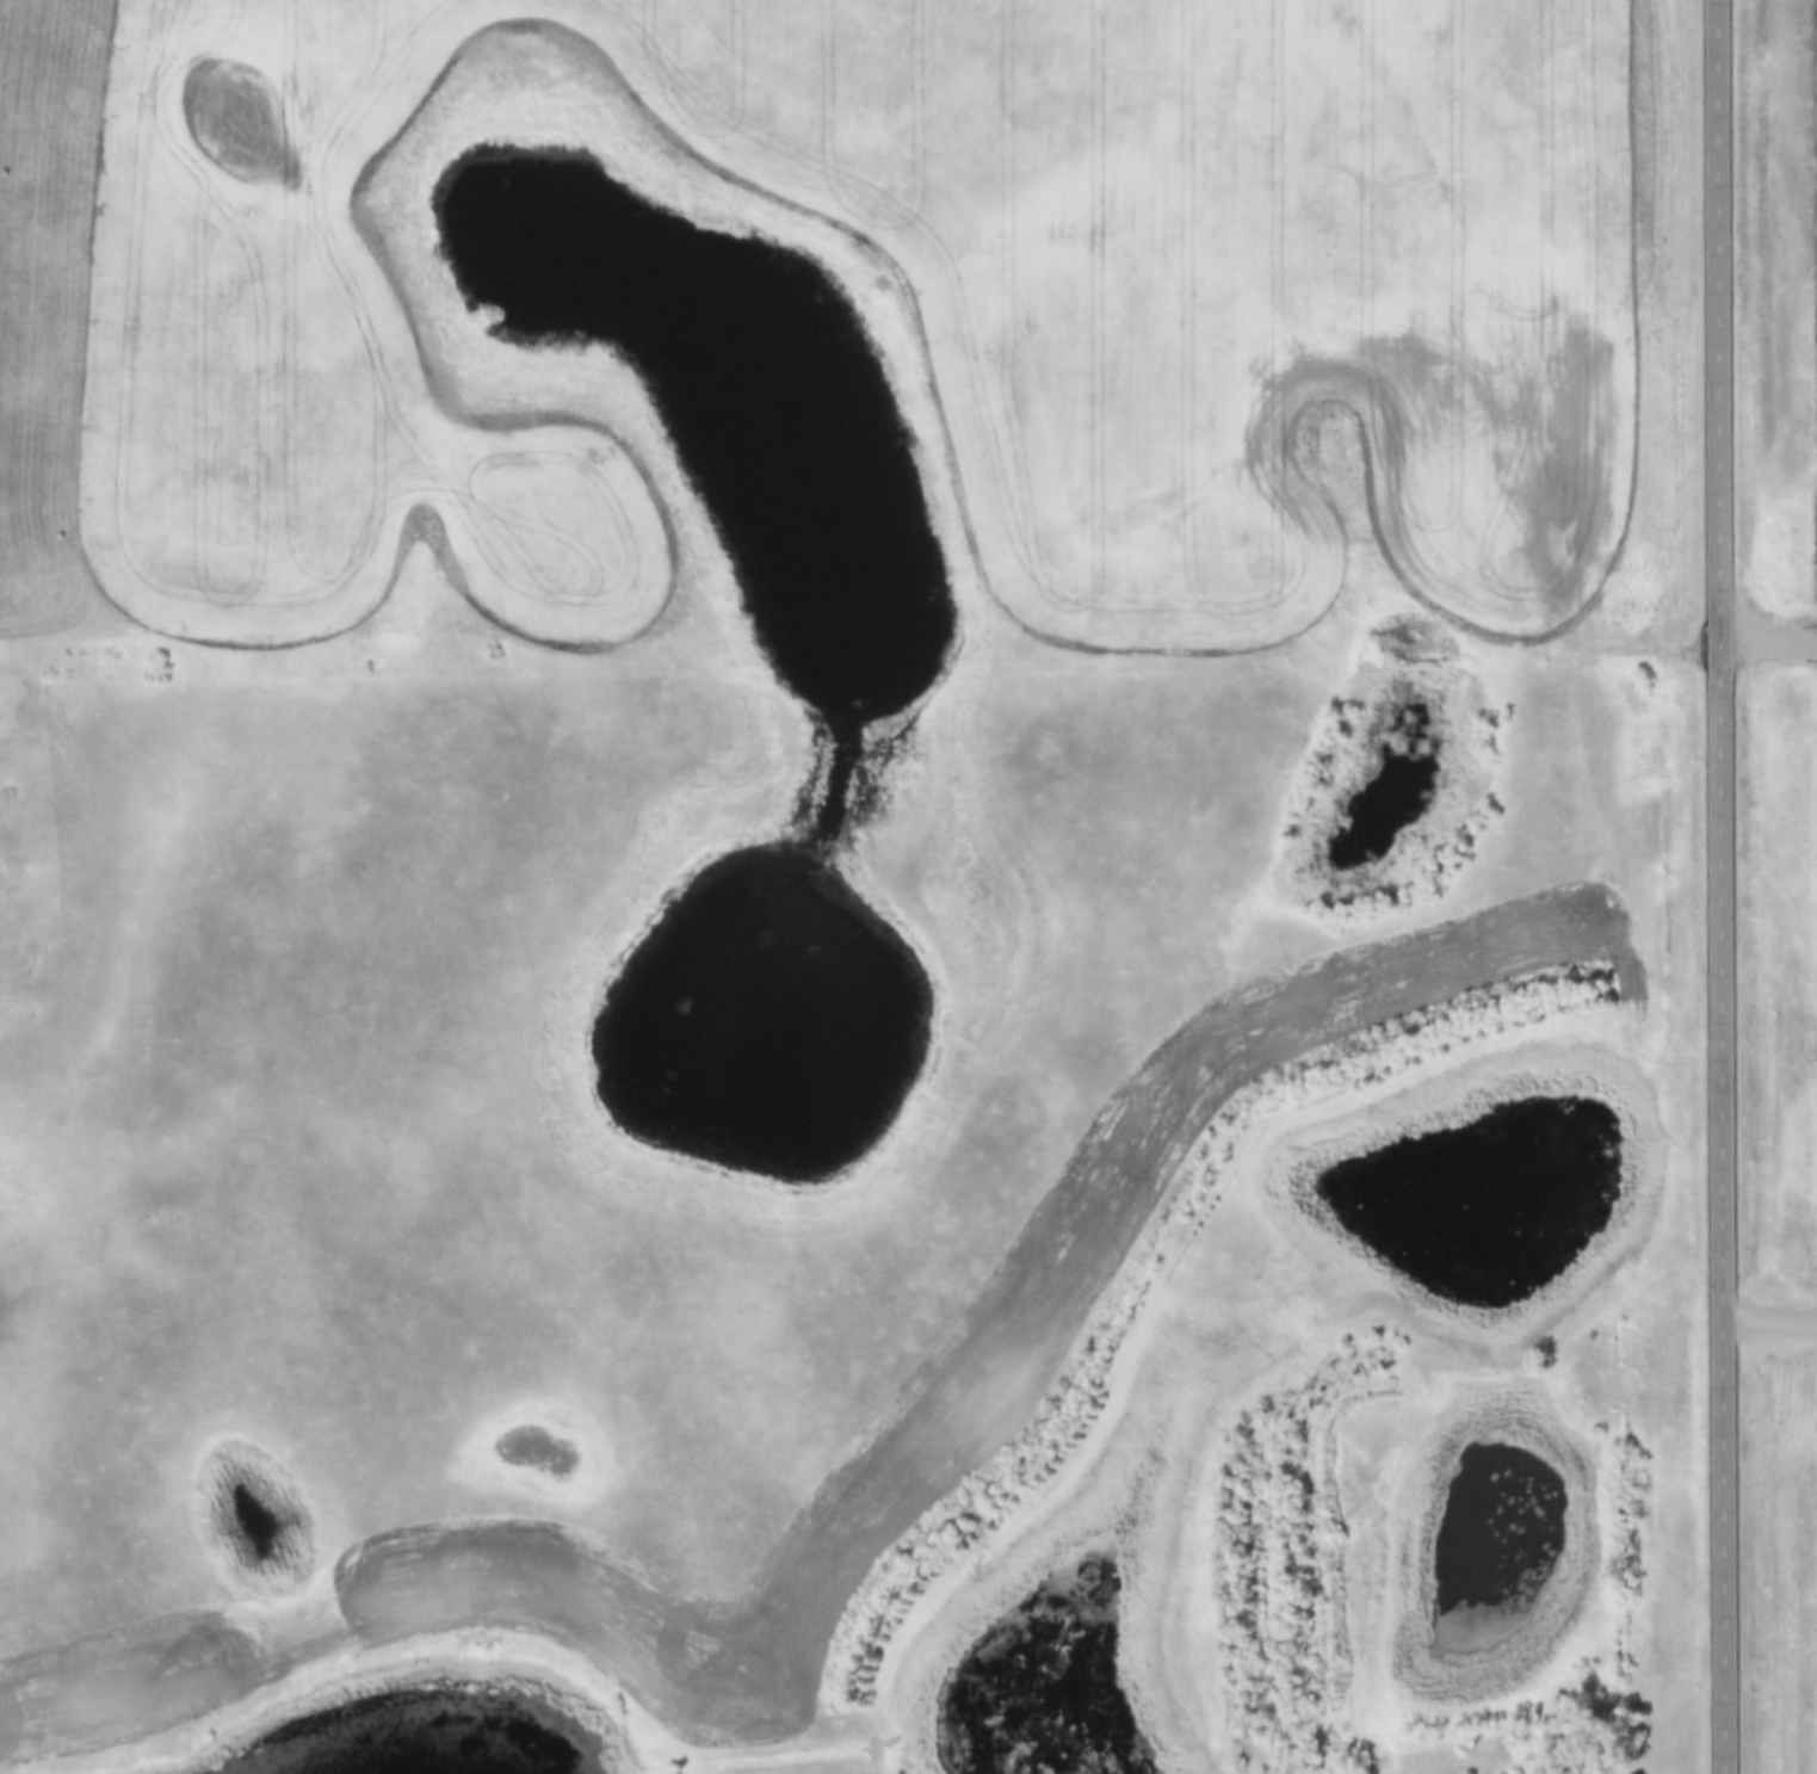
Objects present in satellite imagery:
road: (1766, 638)
road: (1717, 886)

